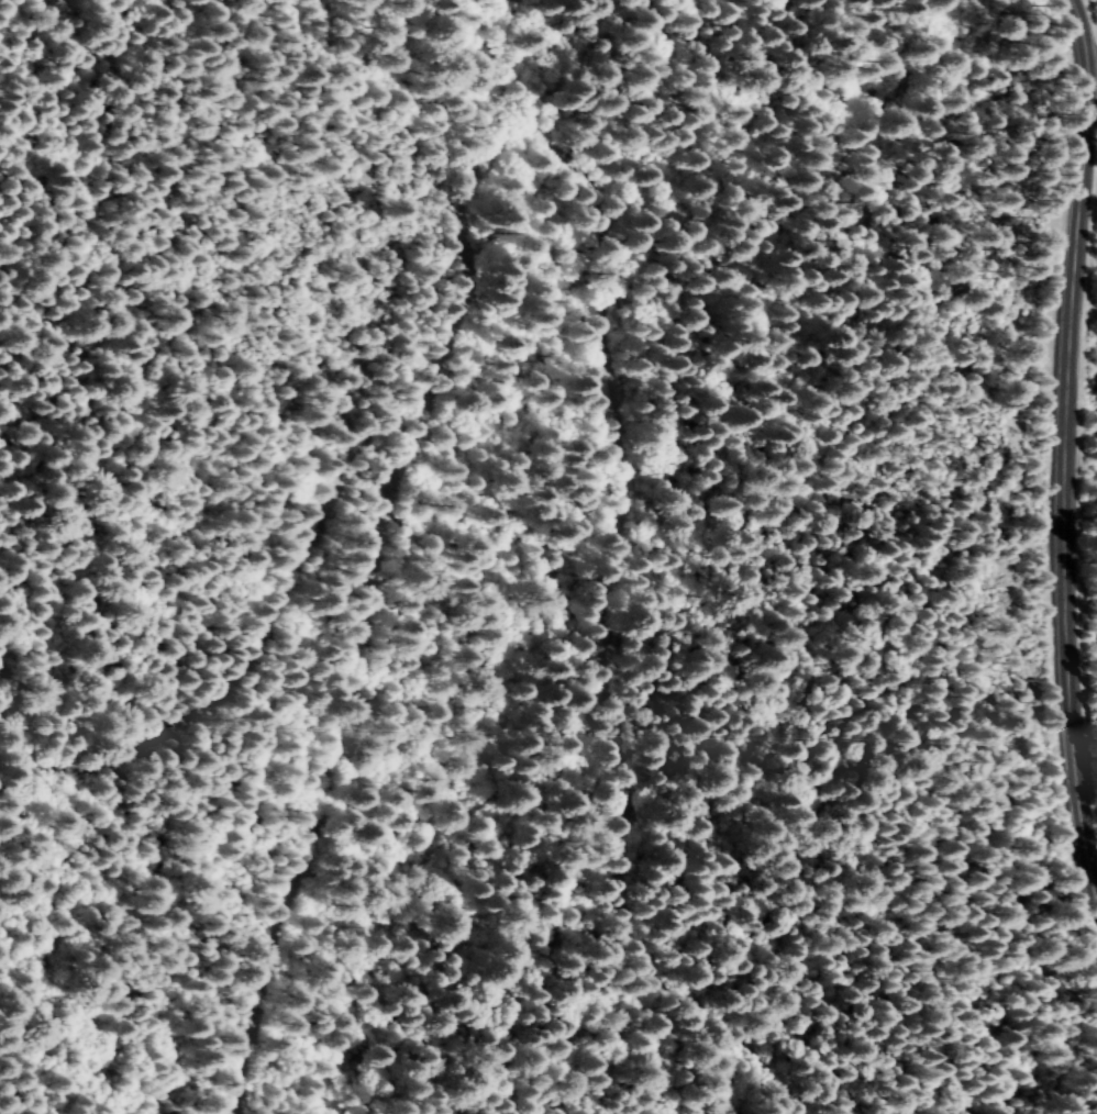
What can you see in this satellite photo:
road: (1092, 45)
road: (518, 305)
road: (1068, 456)
road: (190, 636)

